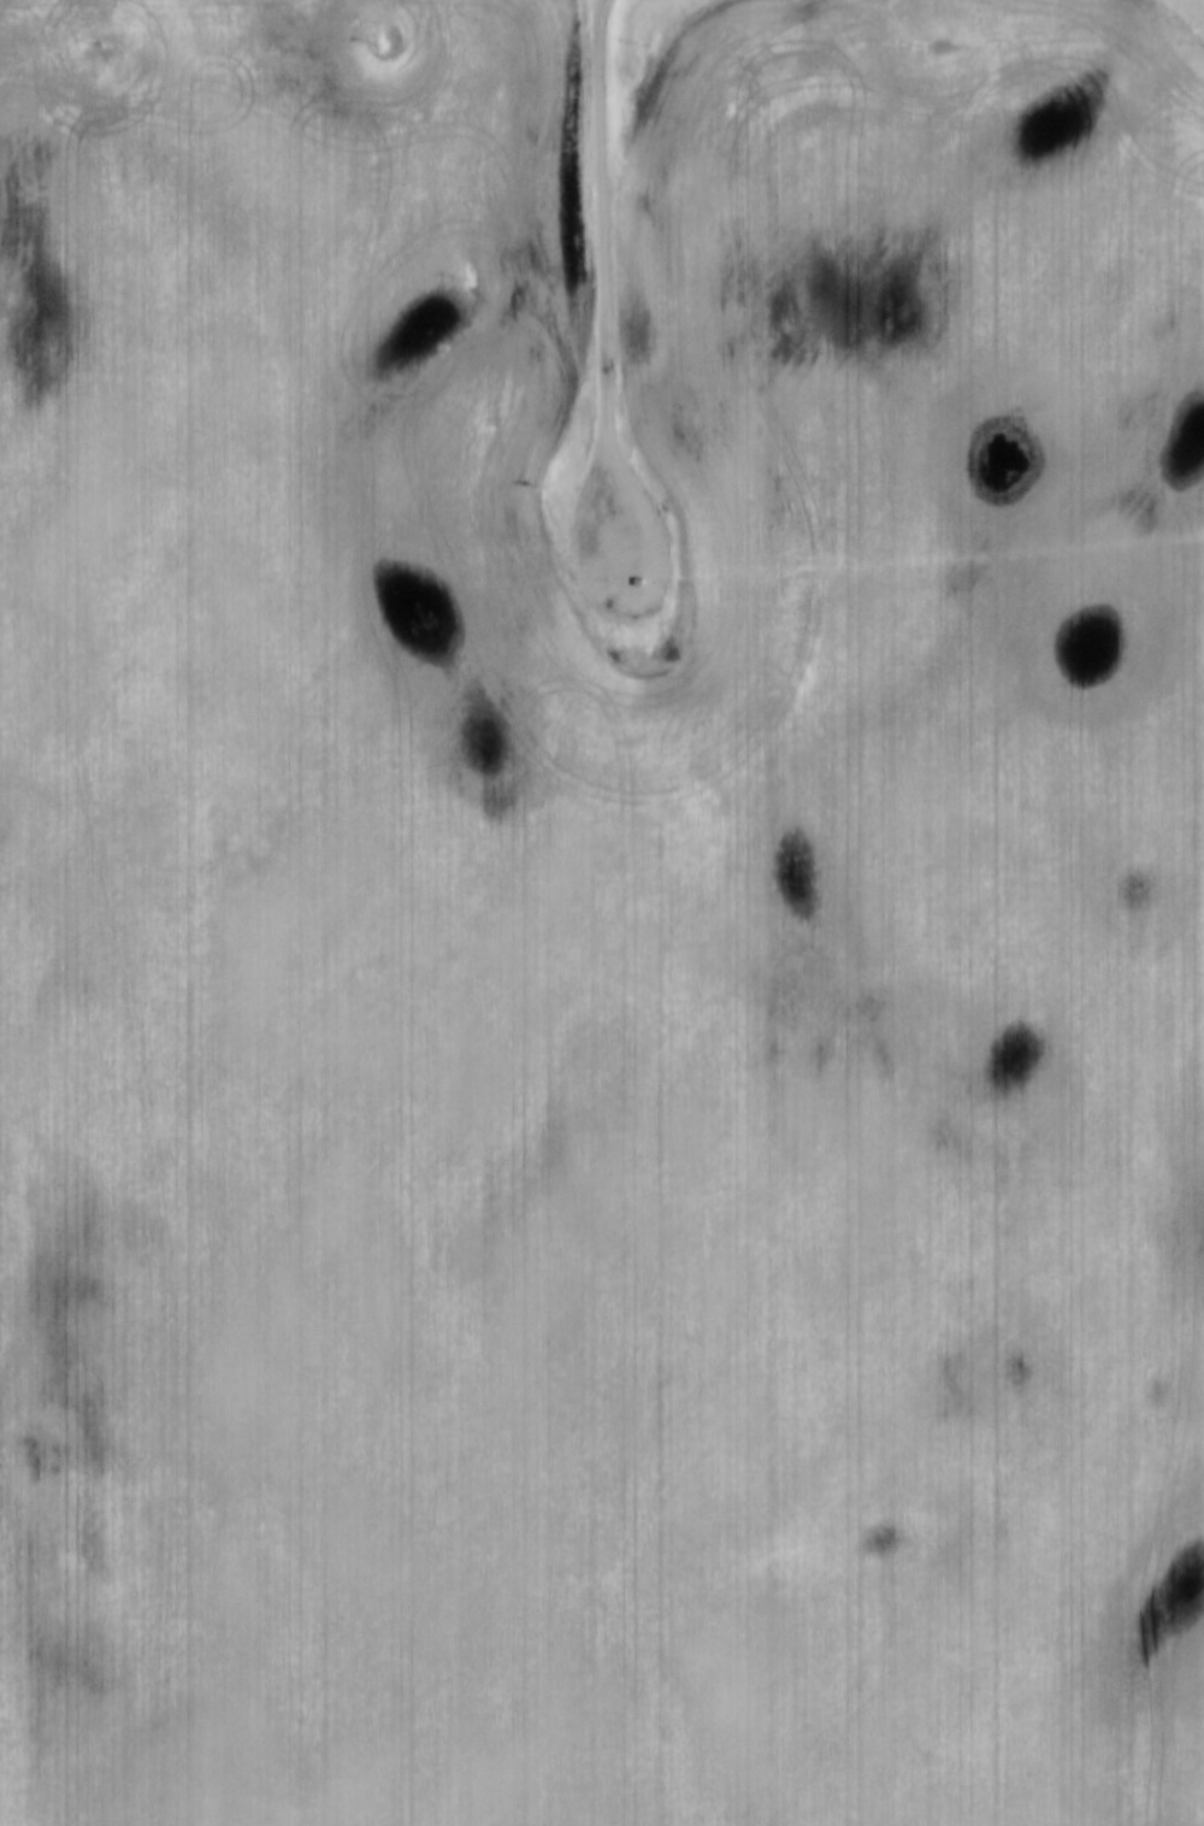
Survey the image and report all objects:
road: (604, 228)

